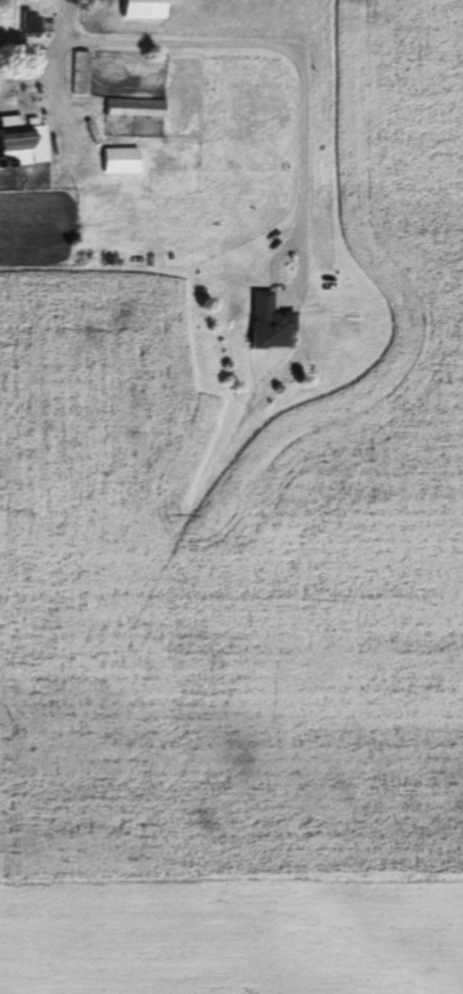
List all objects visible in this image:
building: (147, 9)
building: (32, 21)
road: (57, 66)
building: (82, 72)
building: (137, 107)
road: (303, 109)
building: (23, 142)
building: (123, 160)
building: (272, 323)

